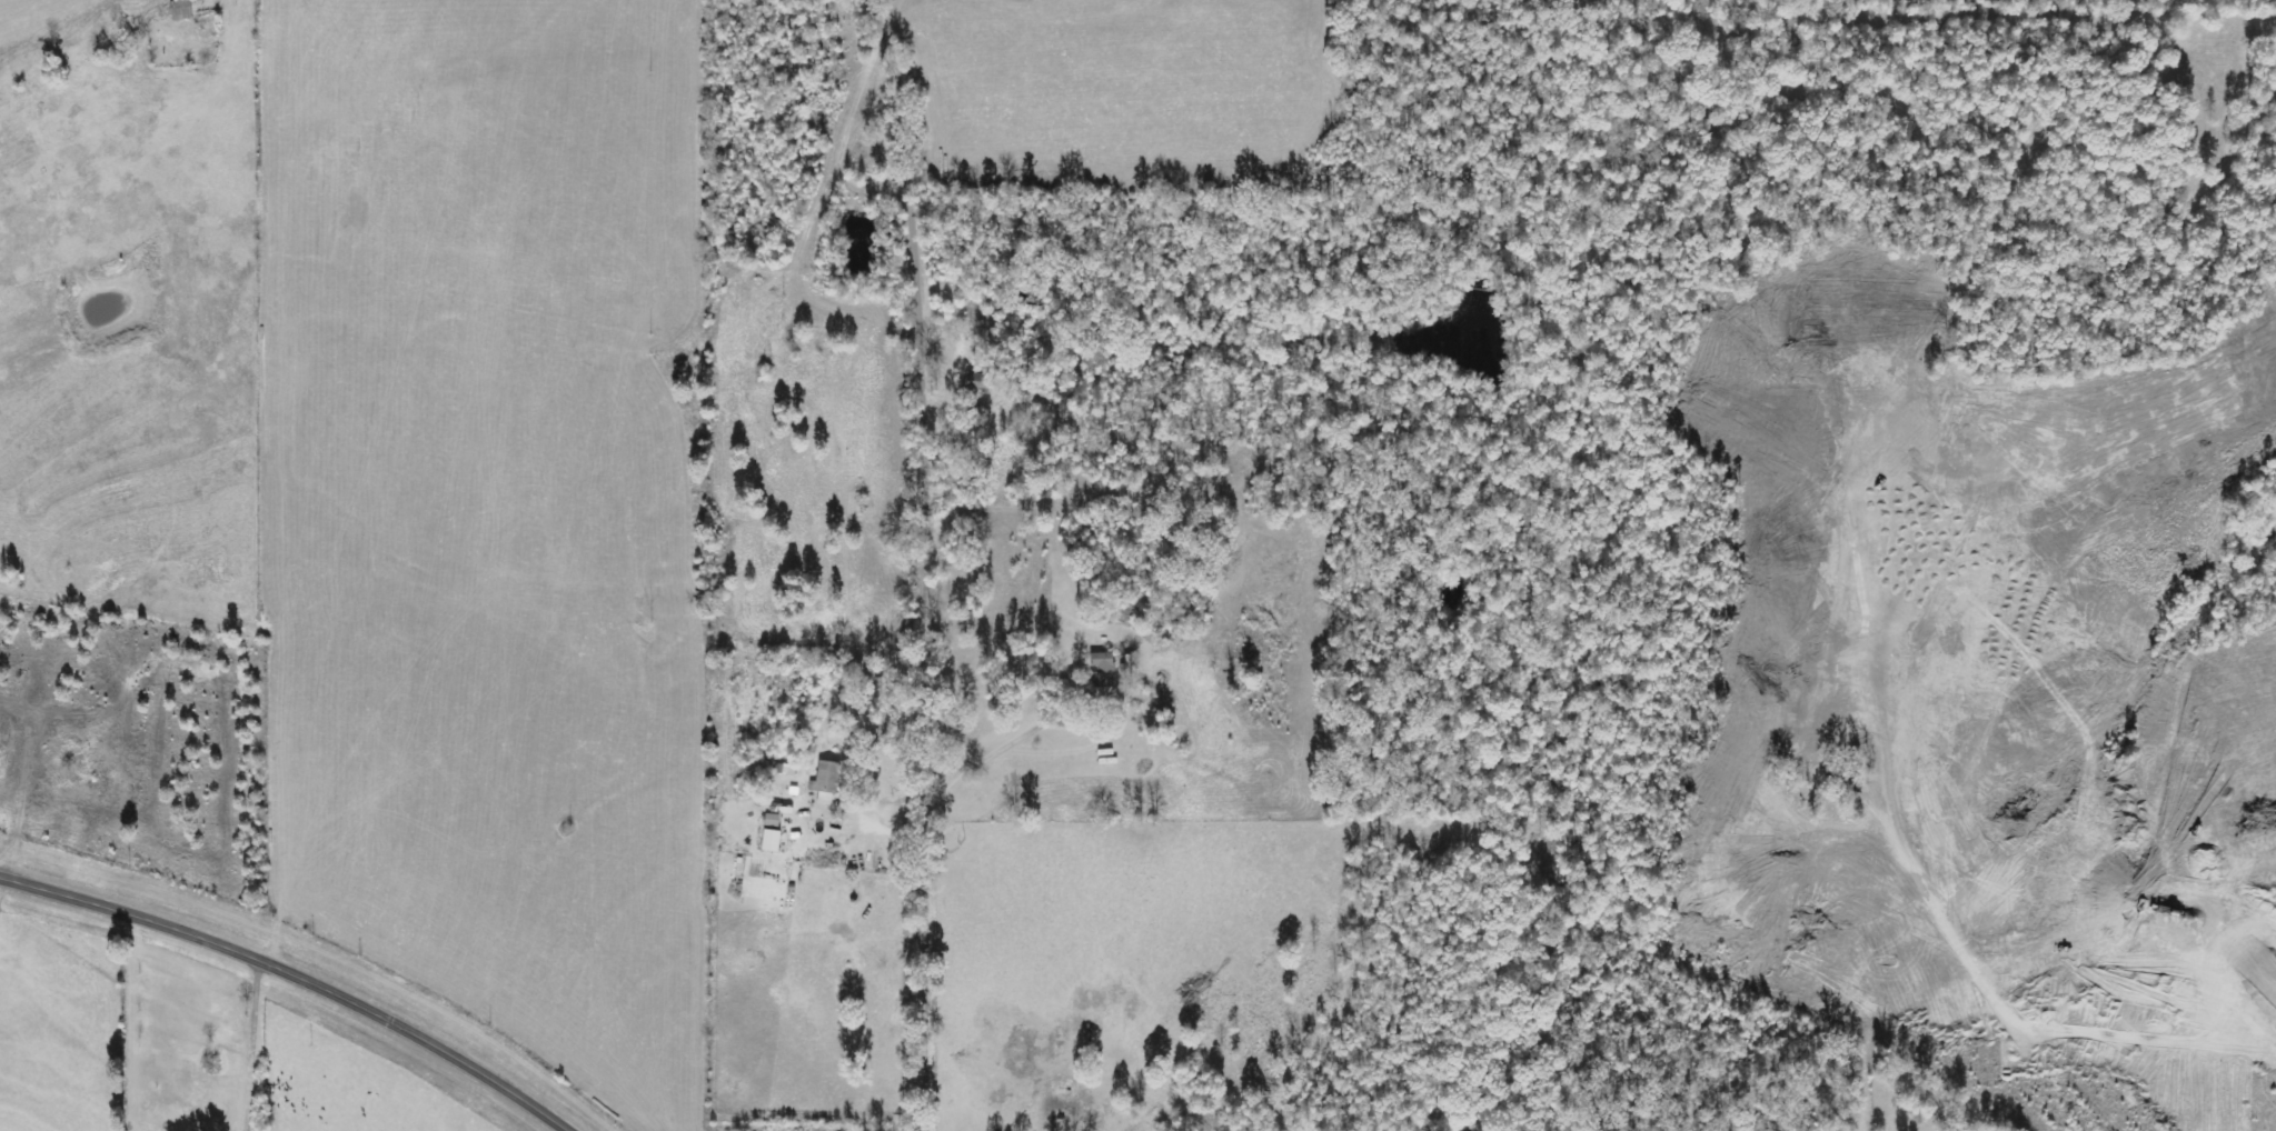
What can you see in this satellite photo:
building: (183, 9)
road: (933, 561)
building: (1104, 673)
building: (828, 782)
building: (775, 832)
road: (294, 981)

